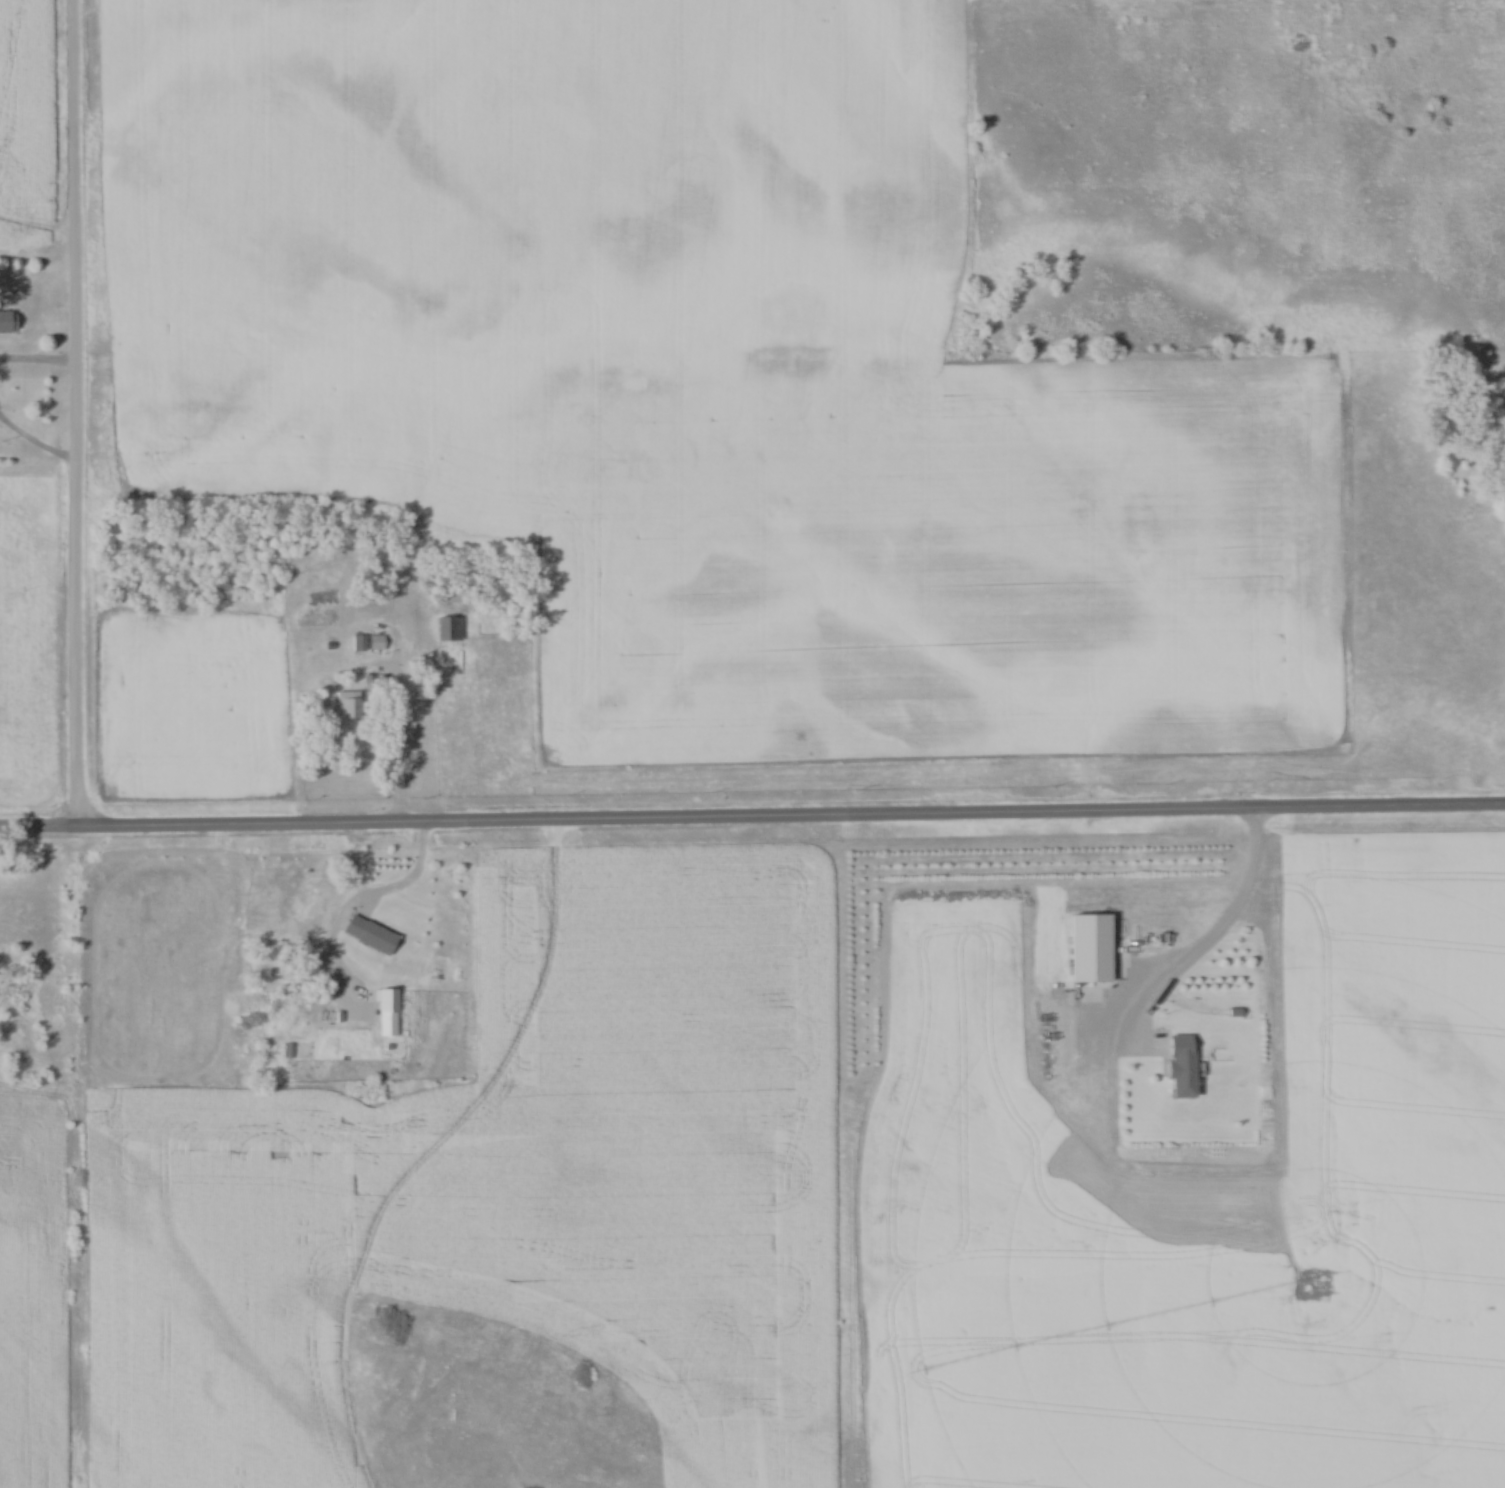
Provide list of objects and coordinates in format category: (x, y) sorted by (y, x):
building: (4, 321)
road: (75, 415)
building: (445, 628)
building: (366, 642)
building: (345, 705)
road: (395, 770)
road: (752, 822)
building: (316, 899)
road: (380, 929)
building: (1085, 948)
building: (383, 1001)
building: (1175, 1067)

